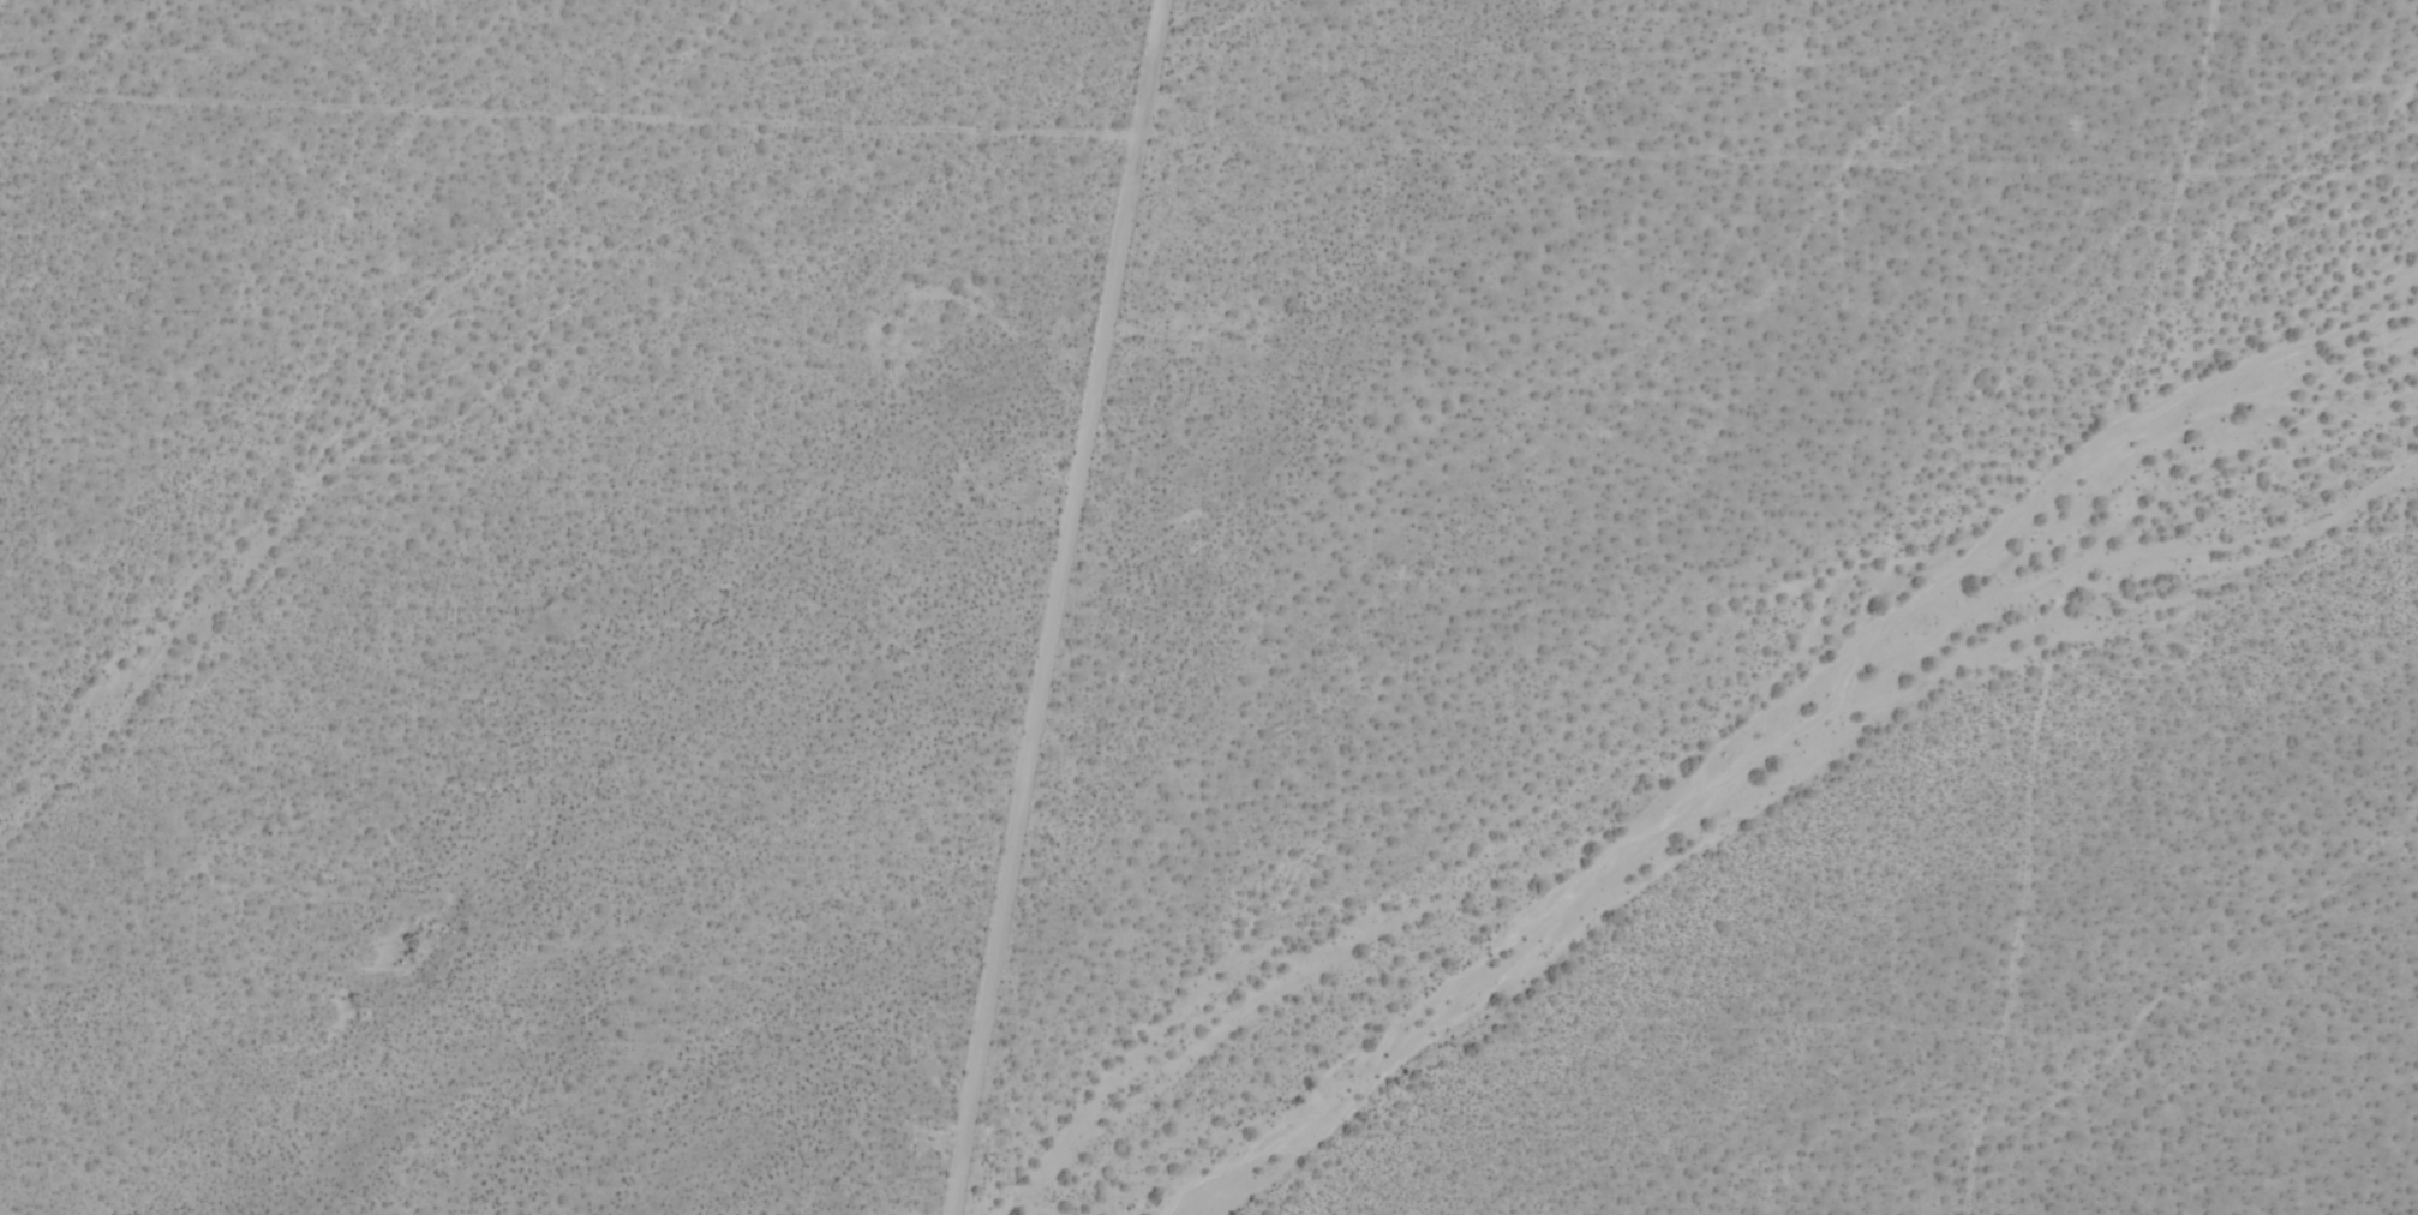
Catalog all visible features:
road: (1052, 606)

